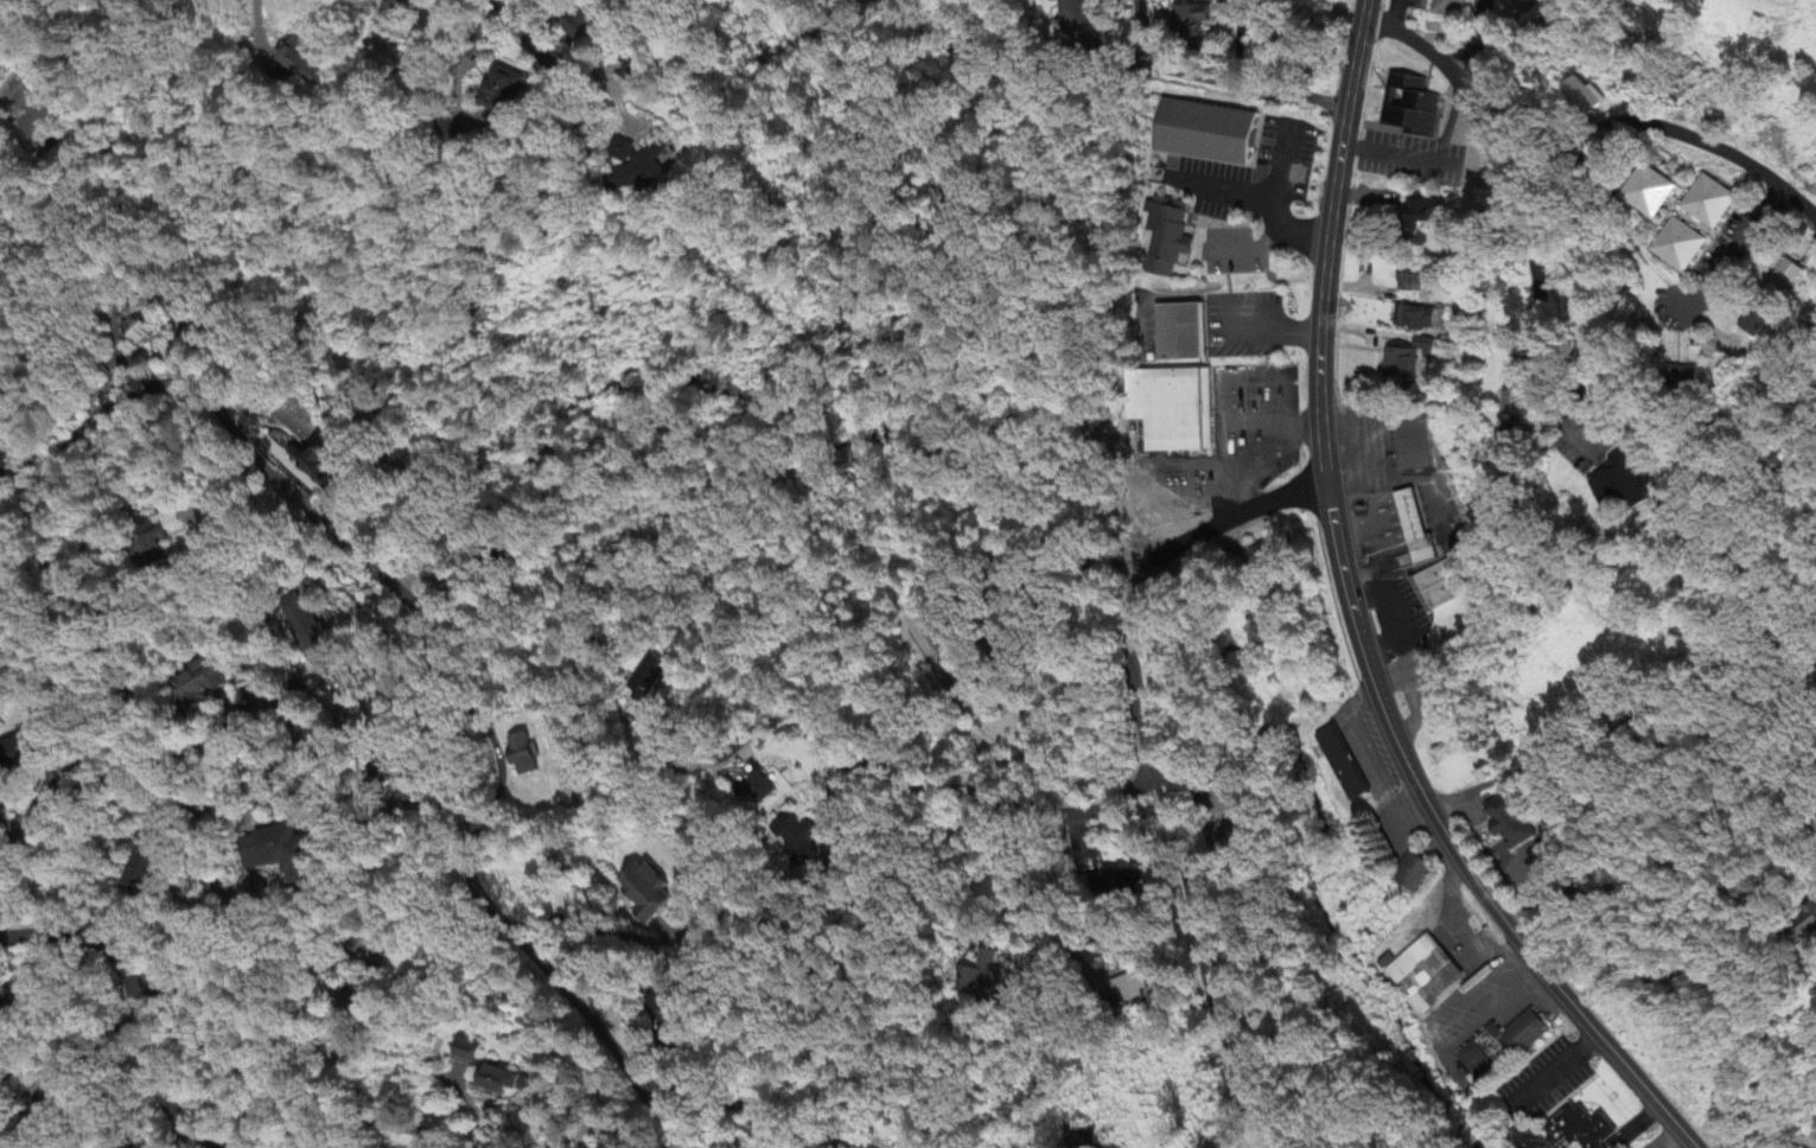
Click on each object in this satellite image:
building: (1454, 6)
road: (259, 26)
road: (559, 49)
road: (1216, 81)
building: (1210, 130)
road: (490, 132)
road: (1429, 161)
road: (1734, 255)
building: (1184, 331)
road: (1582, 382)
park: (850, 400)
building: (1172, 404)
road: (1228, 421)
road: (289, 491)
road: (1139, 497)
road: (1353, 623)
road: (963, 632)
road: (1146, 764)
road: (129, 773)
road: (882, 777)
building: (795, 841)
building: (282, 853)
road: (912, 866)
building: (145, 868)
building: (1412, 873)
building: (1114, 885)
building: (265, 889)
building: (645, 893)
road: (1039, 901)
building: (378, 954)
road: (329, 965)
building: (1423, 974)
building: (979, 976)
building: (1133, 988)
building: (361, 1002)
road: (132, 1009)
road: (1333, 1016)
building: (1499, 1047)
building: (491, 1072)
road: (268, 1089)
road: (746, 1111)
building: (1578, 1130)
building: (1079, 1137)
building: (780, 1146)

